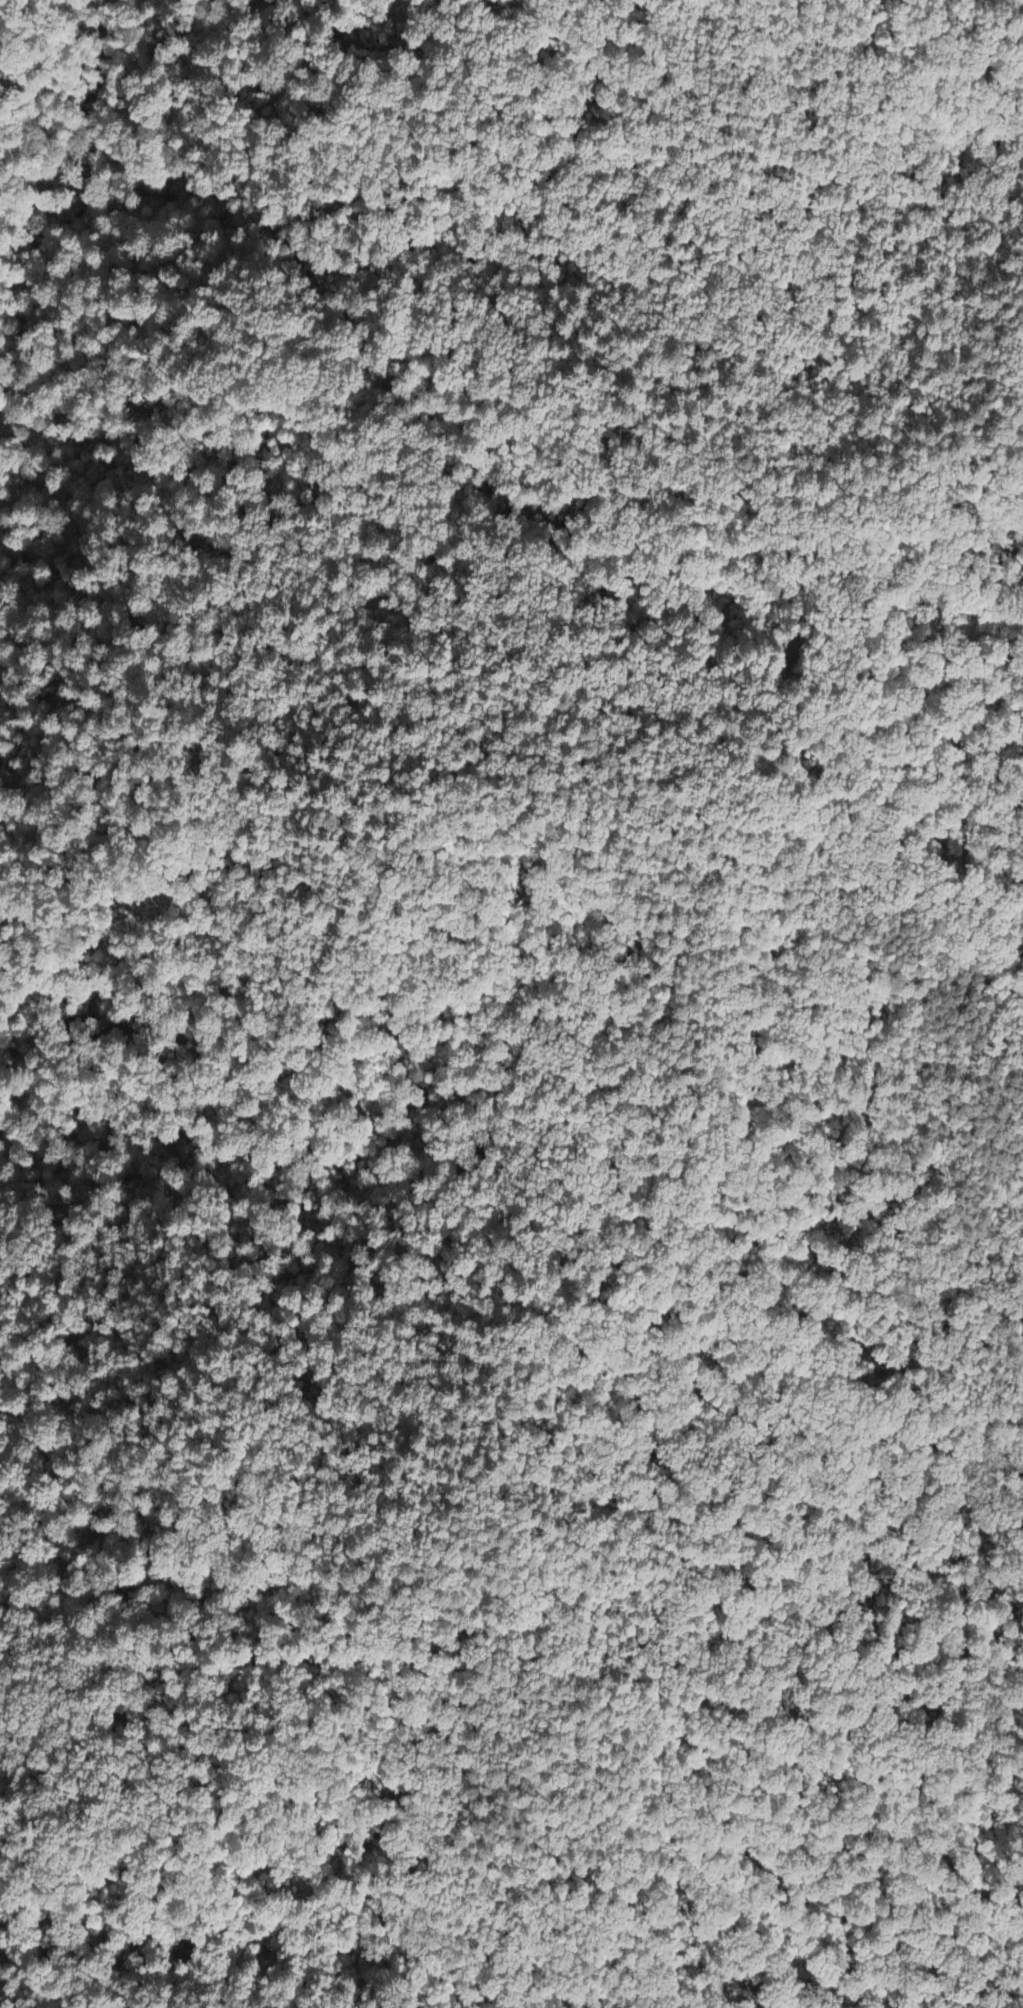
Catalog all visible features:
road: (23, 95)
road: (805, 929)

